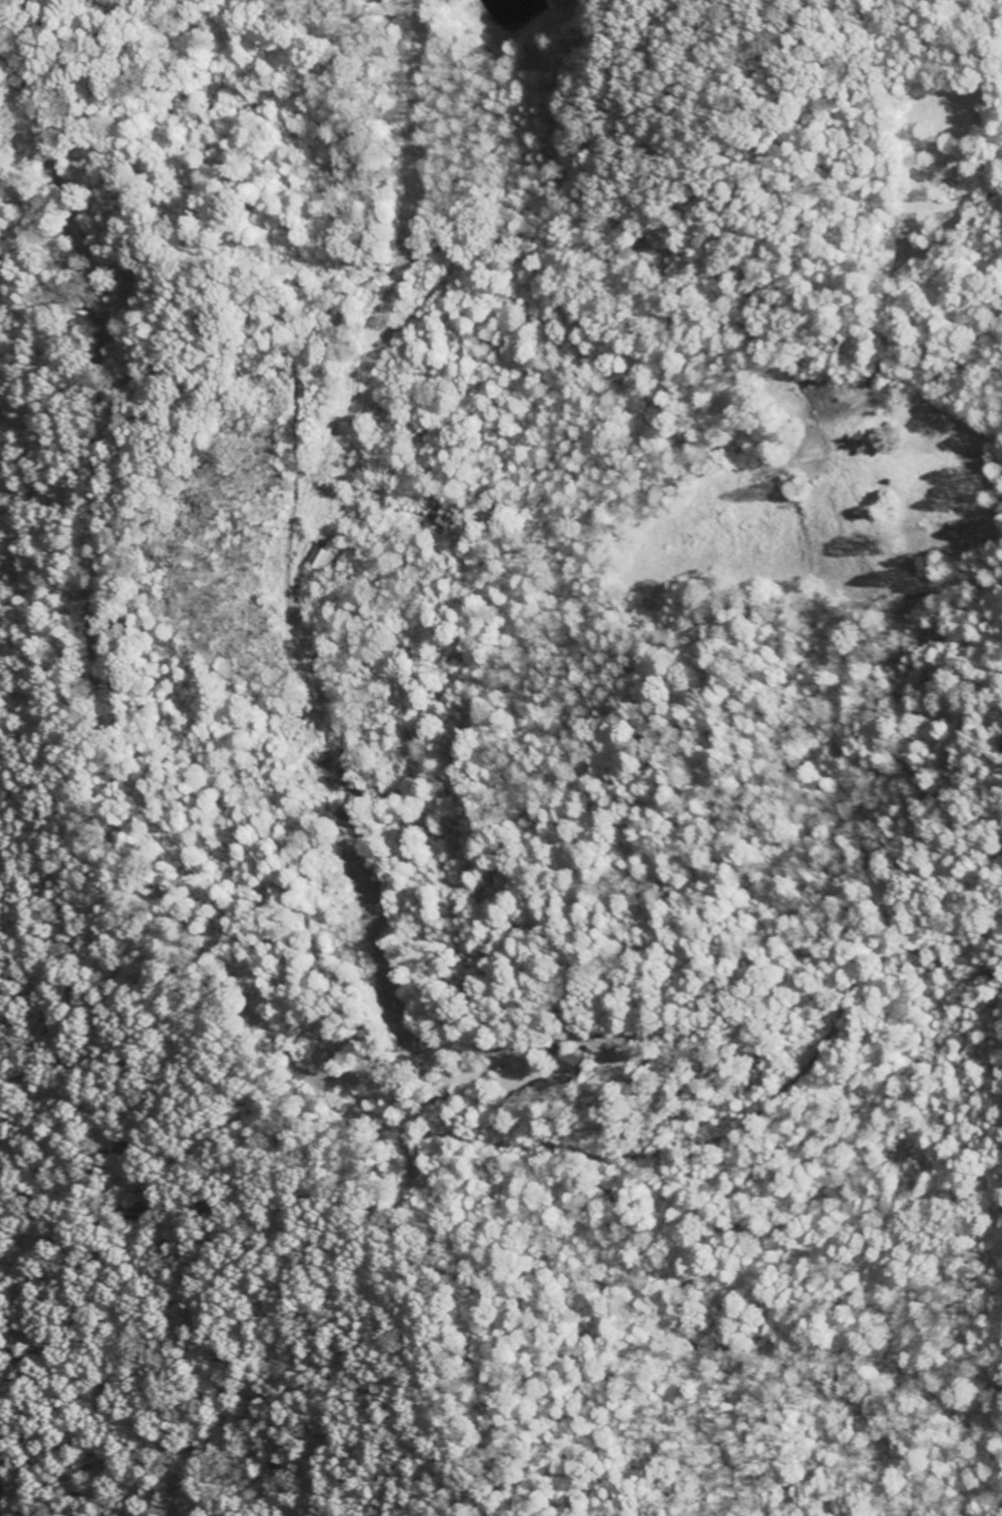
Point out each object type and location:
road: (923, 441)
road: (860, 498)
road: (112, 812)

